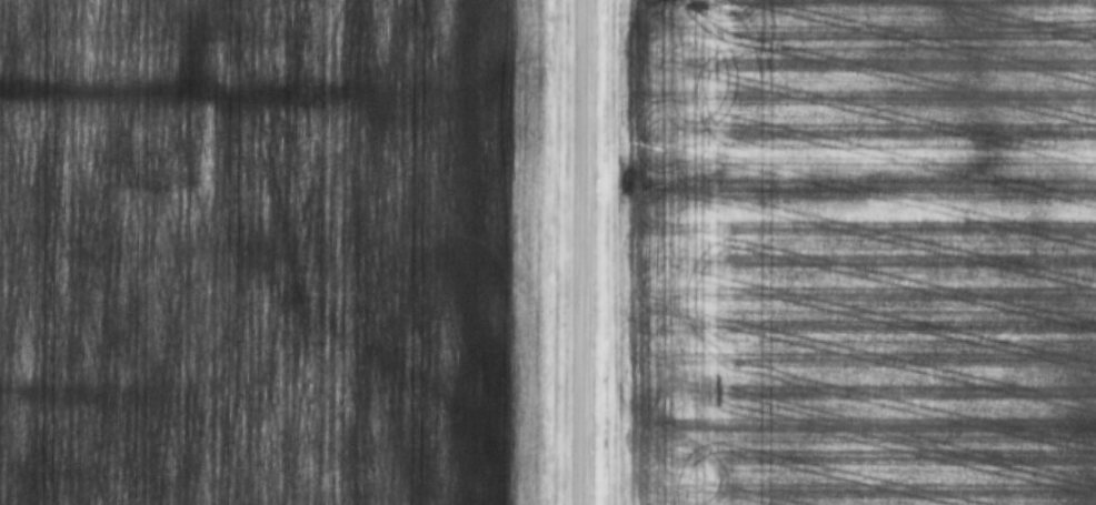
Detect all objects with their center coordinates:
road: (582, 252)

